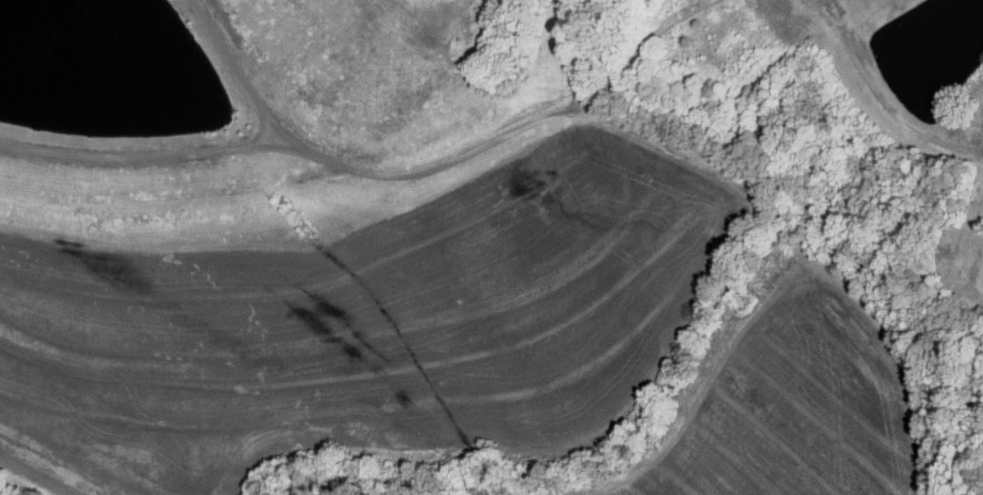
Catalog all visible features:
road: (611, 122)
road: (140, 159)
road: (722, 377)
road: (966, 417)
road: (26, 481)

